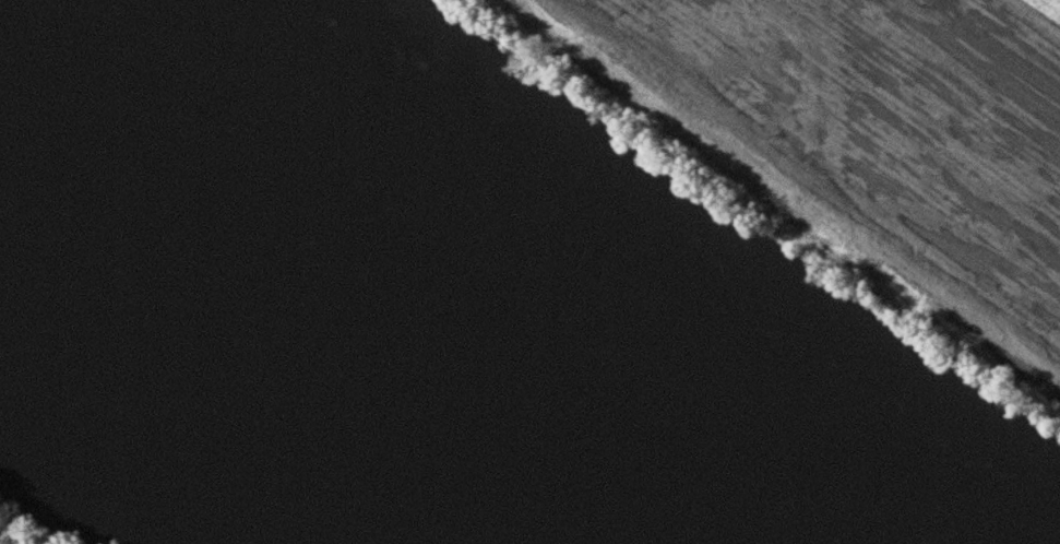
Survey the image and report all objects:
river: (332, 320)

